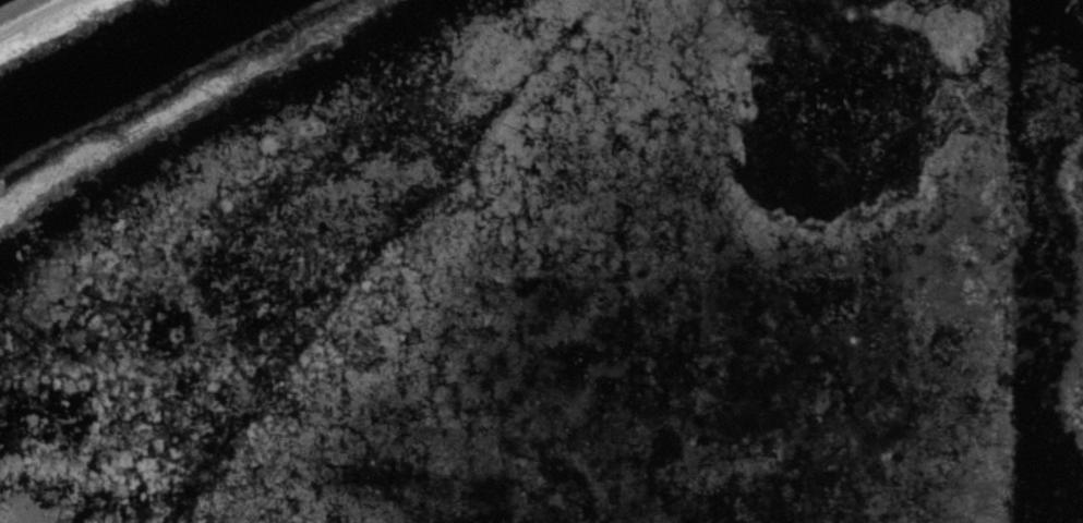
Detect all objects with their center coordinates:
road: (19, 11)

